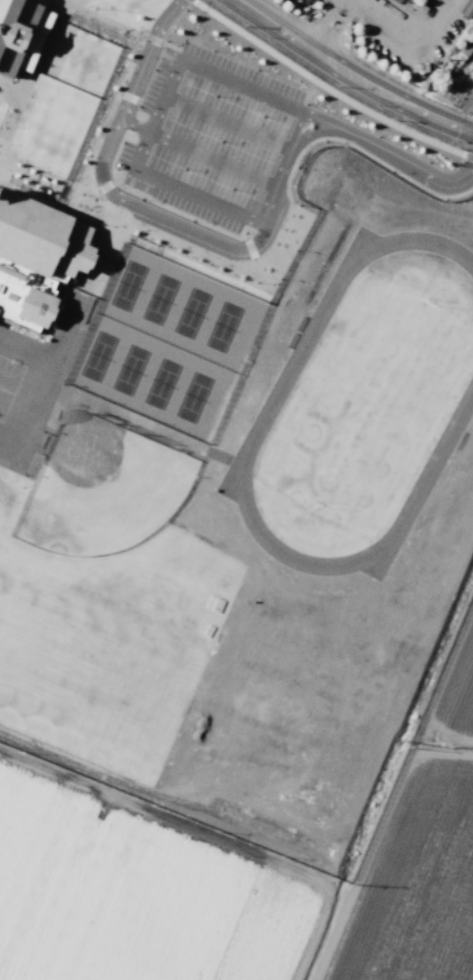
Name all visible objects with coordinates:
building: (472, 1)
building: (466, 12)
building: (15, 32)
road: (186, 62)
road: (349, 73)
road: (136, 77)
road: (325, 121)
road: (135, 126)
road: (294, 132)
road: (299, 140)
road: (411, 165)
road: (202, 199)
road: (195, 233)
building: (39, 238)
building: (22, 291)
building: (36, 308)
park: (364, 404)
crop: (244, 875)

